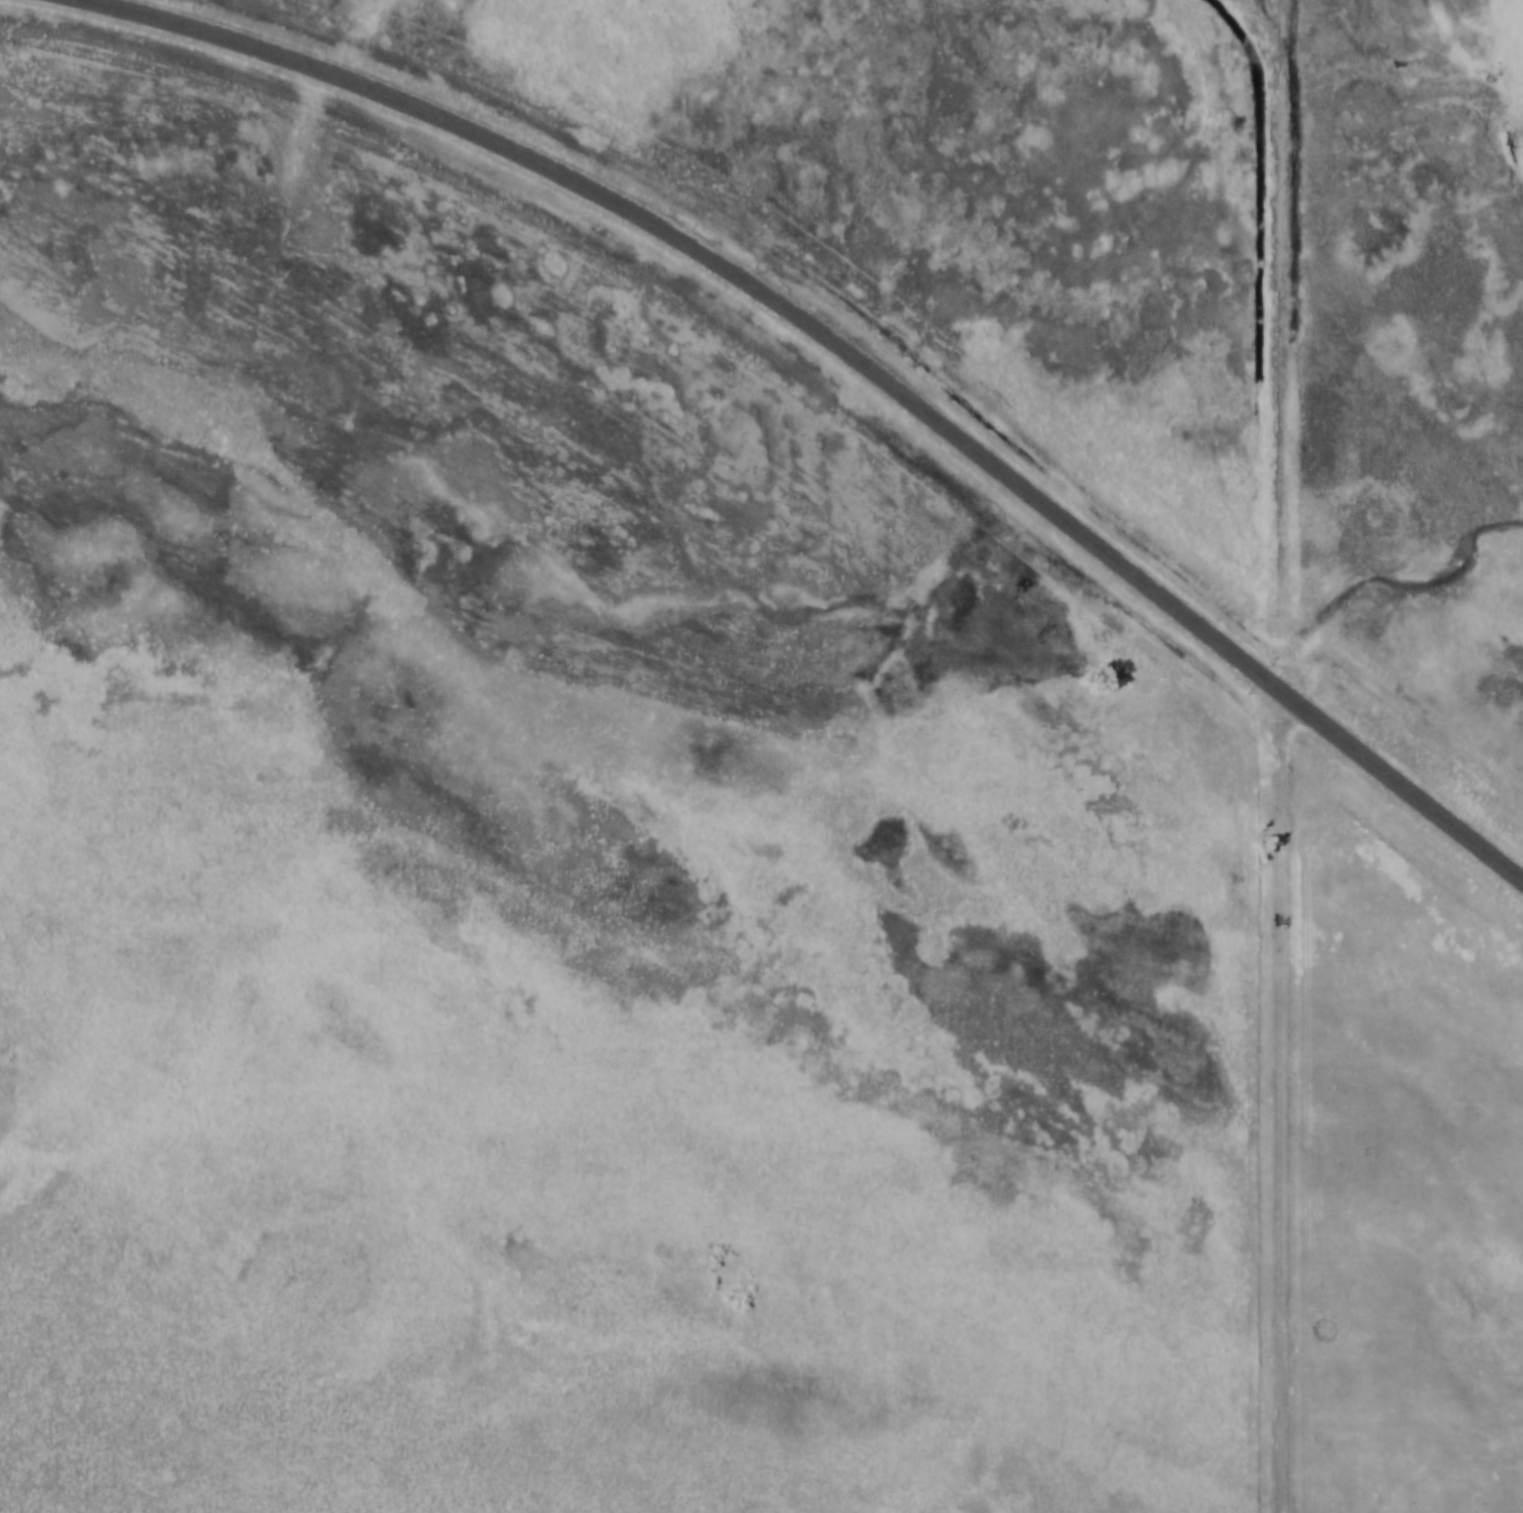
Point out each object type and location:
road: (848, 353)
road: (1282, 749)

